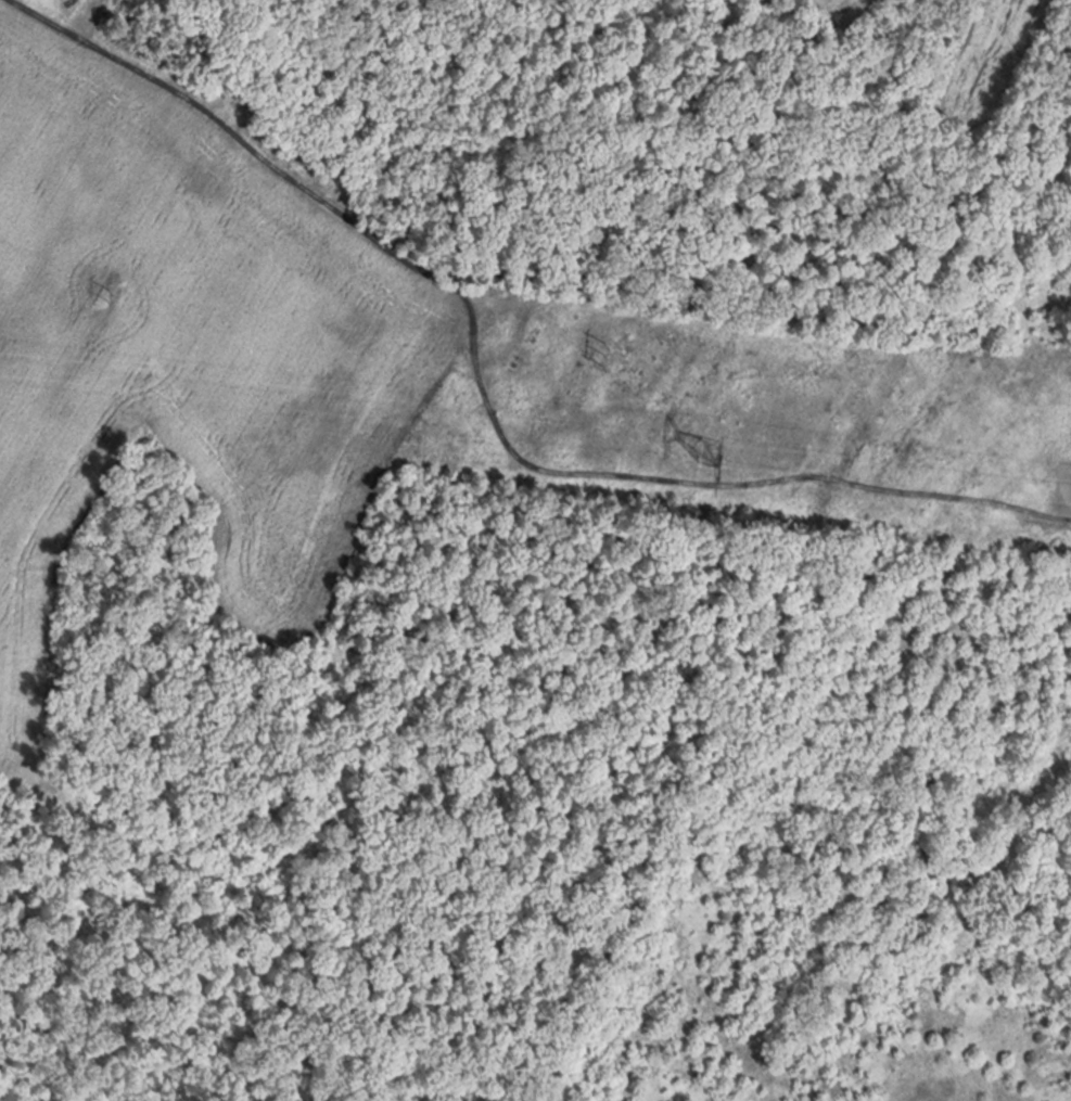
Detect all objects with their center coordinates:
road: (1054, 85)
power tower: (98, 295)
power tower: (611, 351)
power tower: (683, 430)

